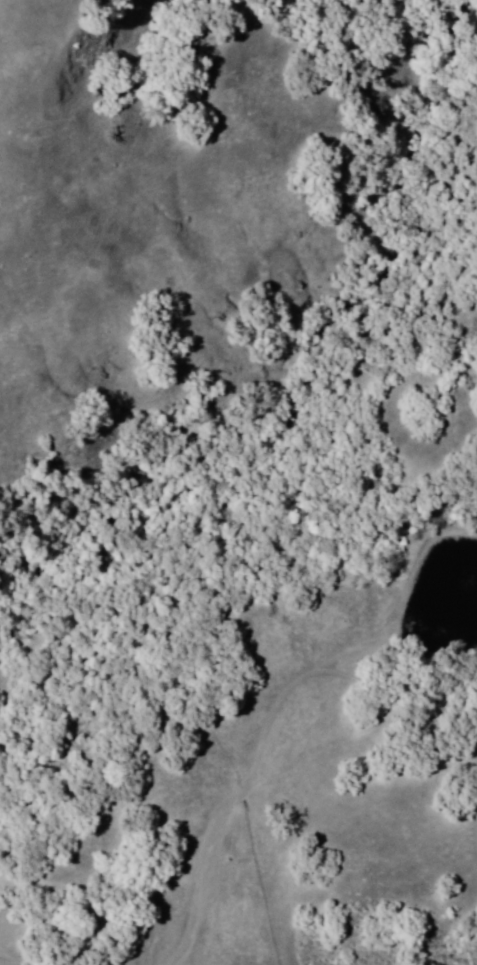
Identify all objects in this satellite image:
road: (395, 692)
road: (252, 780)

